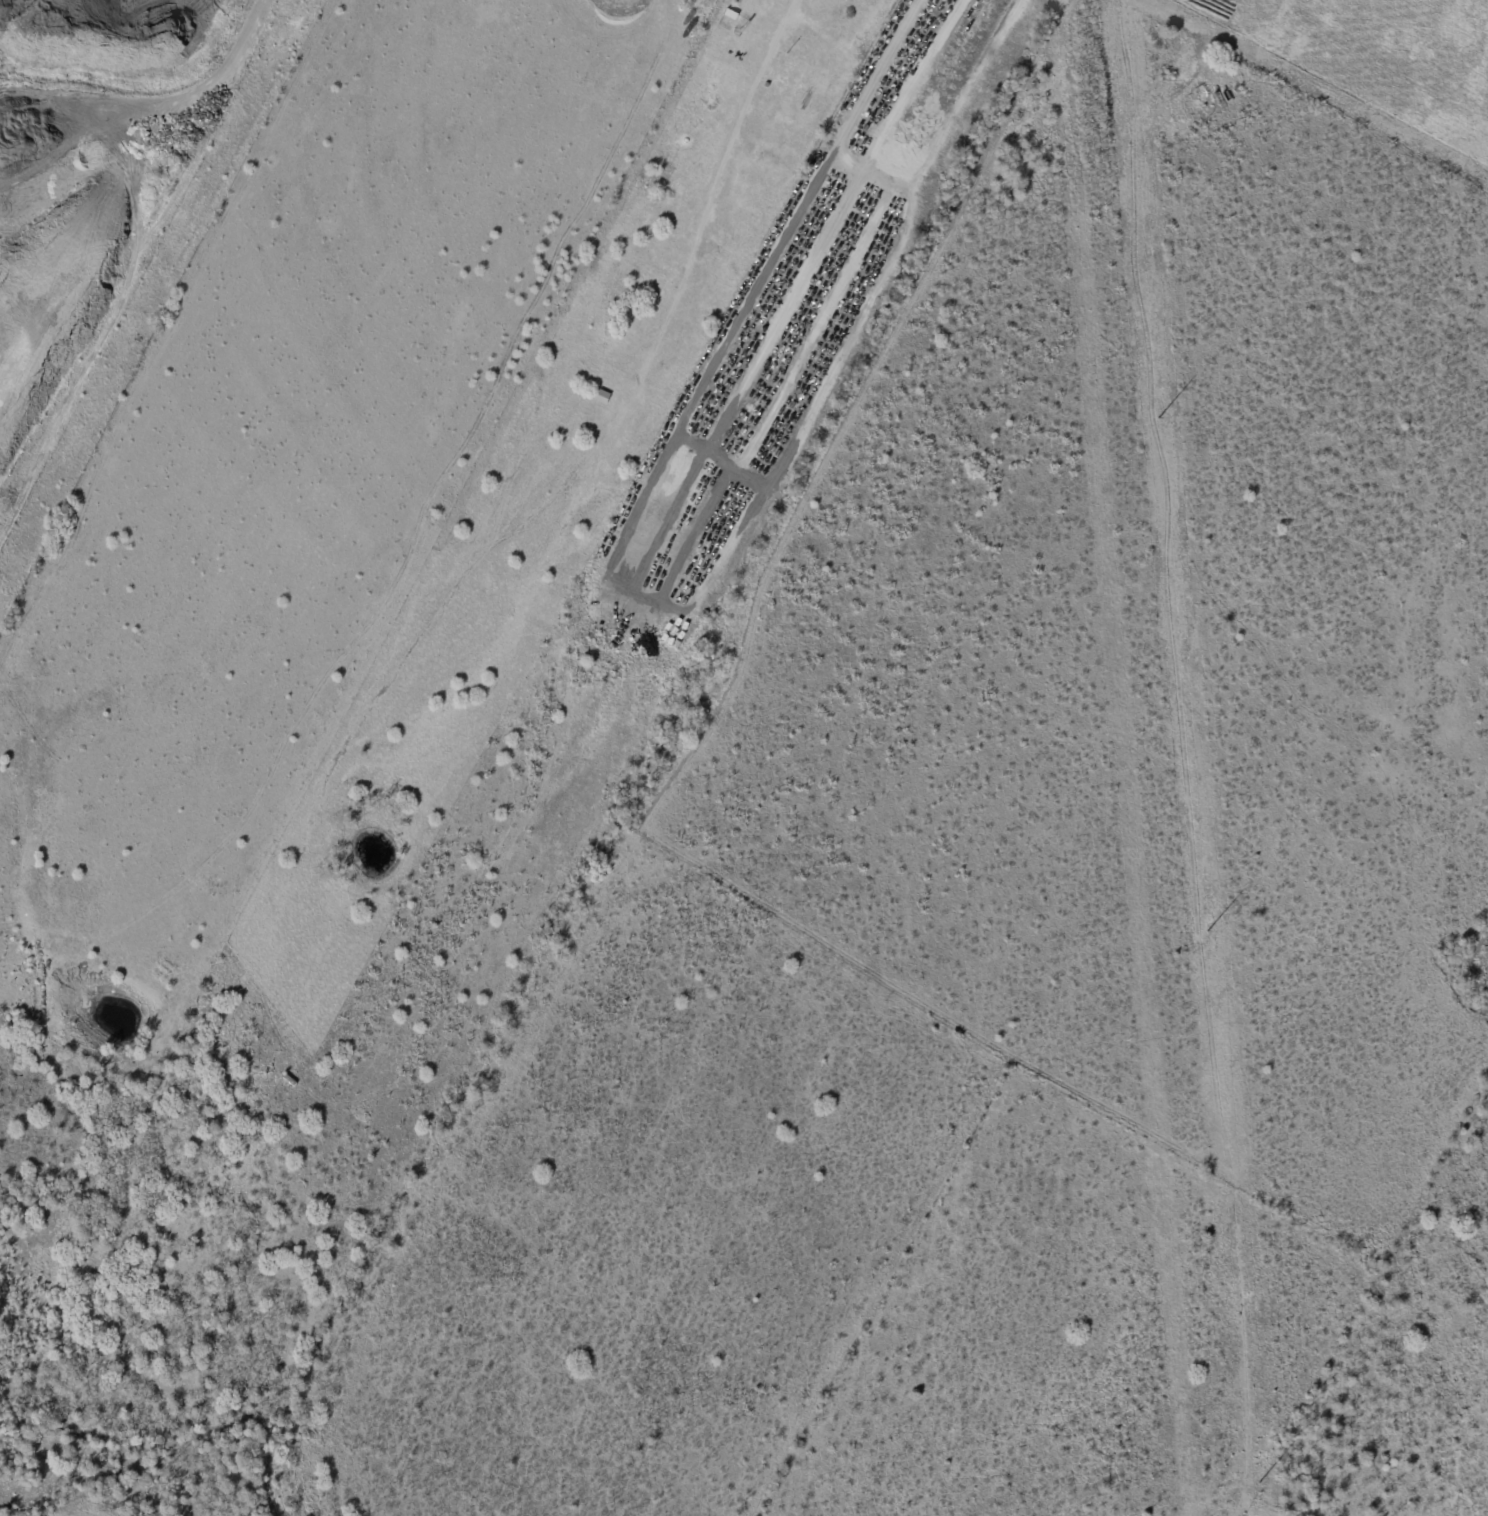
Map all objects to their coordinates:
road: (782, 37)
road: (909, 97)
road: (886, 171)
building: (709, 295)
building: (704, 314)
building: (700, 327)
building: (694, 347)
power tower: (1157, 421)
road: (646, 620)
power tower: (1204, 932)
power tower: (1257, 1487)

